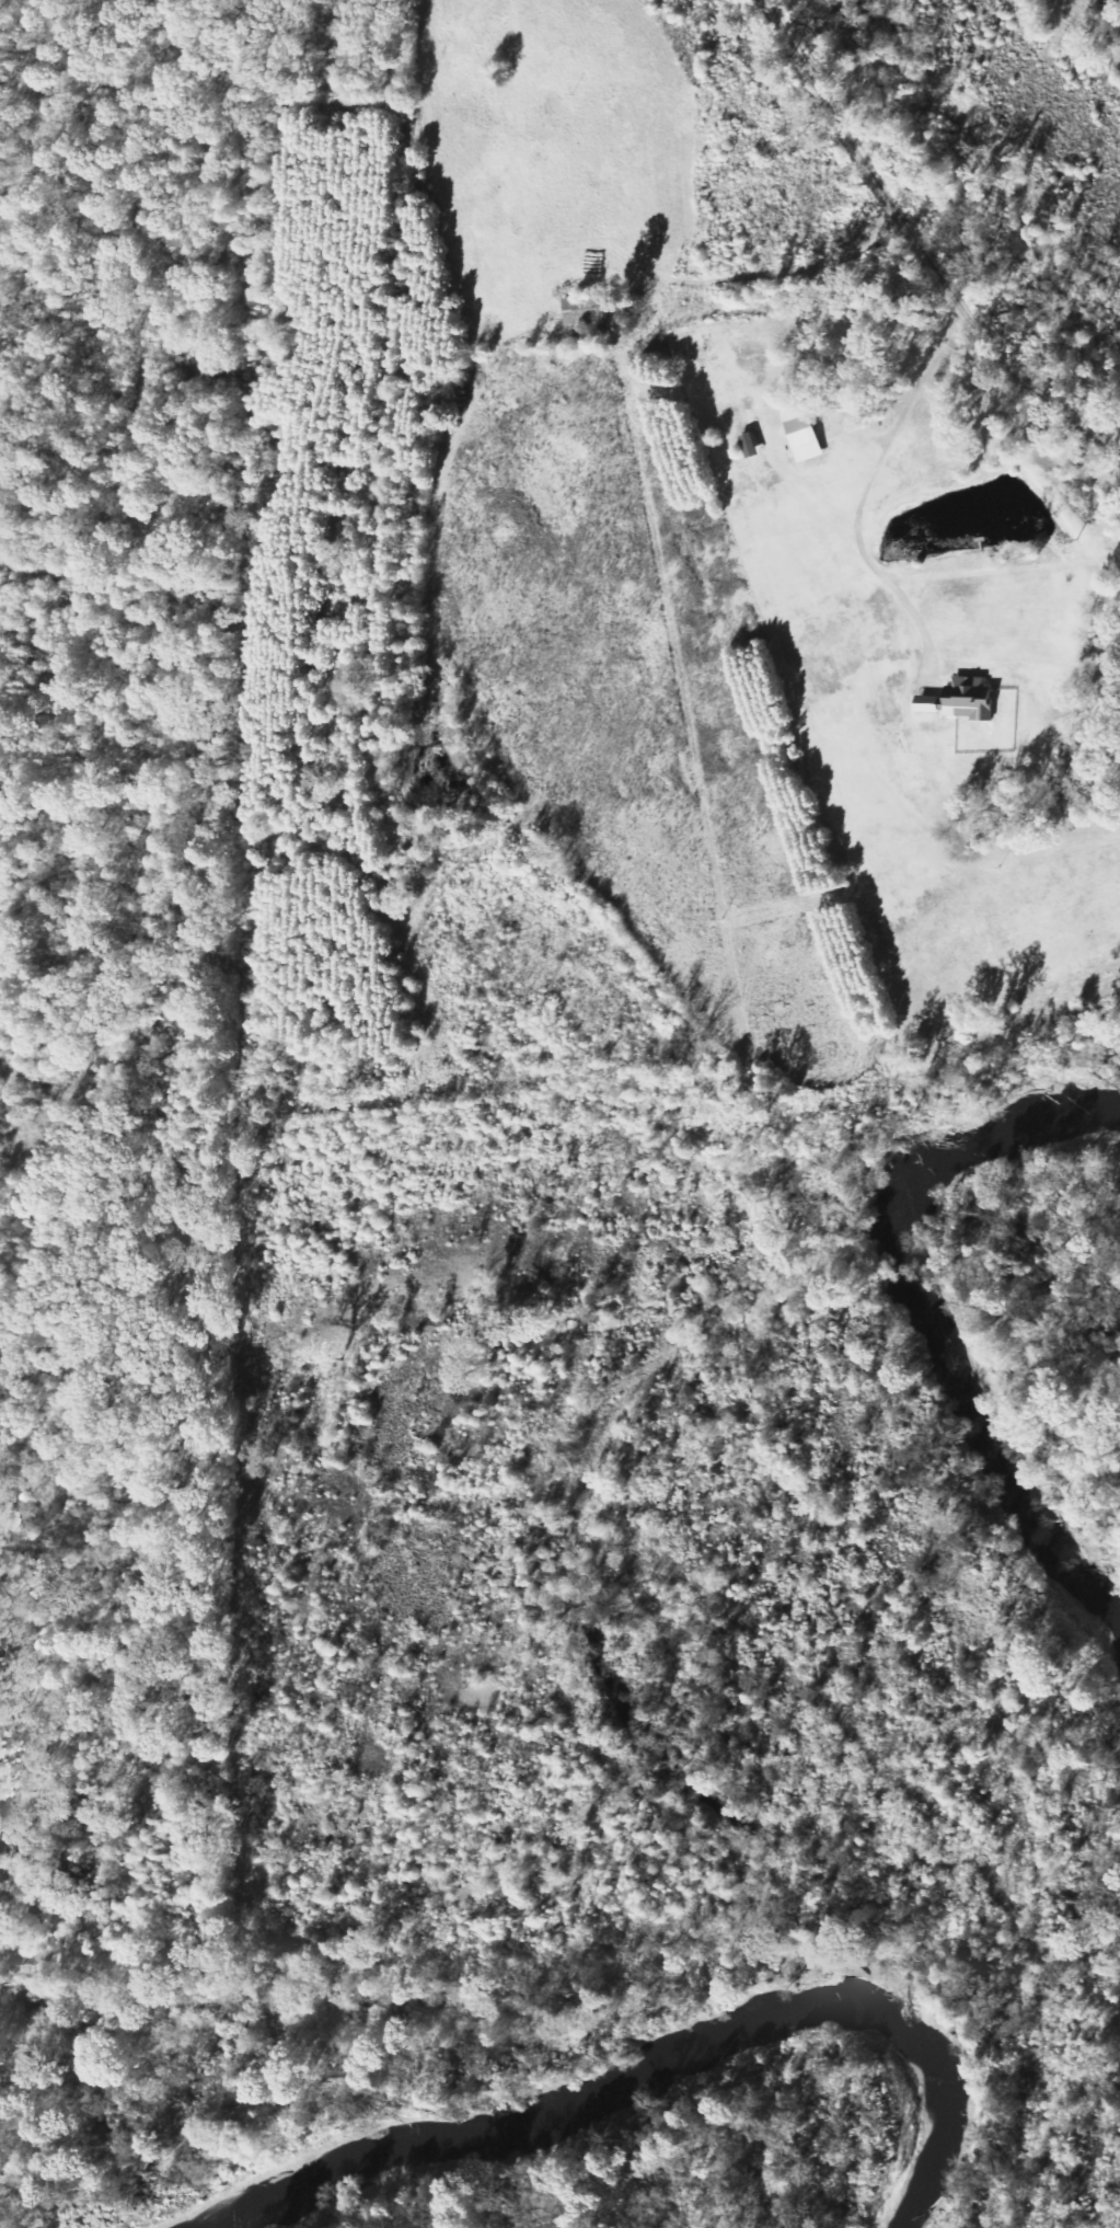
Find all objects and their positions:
road: (900, 249)
building: (585, 310)
building: (801, 433)
building: (960, 700)
river: (932, 1329)
river: (639, 2064)

